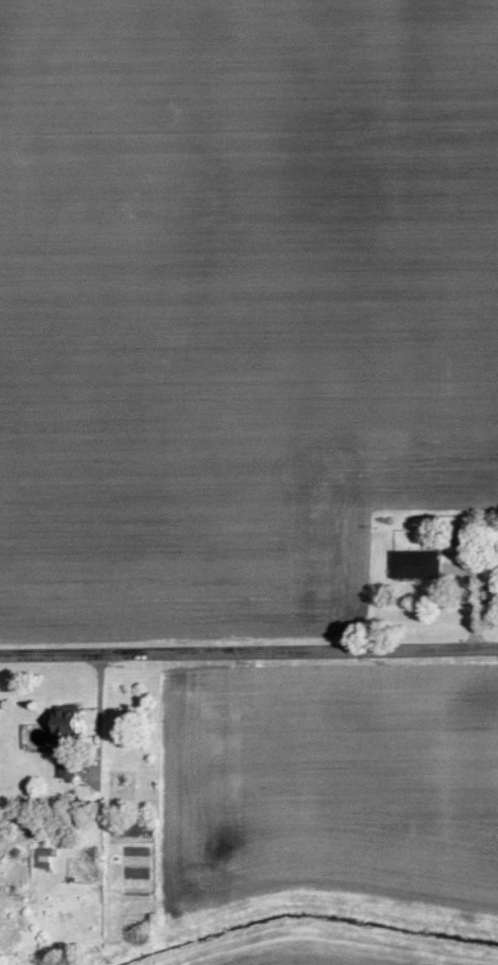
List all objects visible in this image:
building: (413, 563)
road: (249, 650)
building: (65, 721)
building: (64, 770)
crop: (329, 784)
crop: (327, 949)

